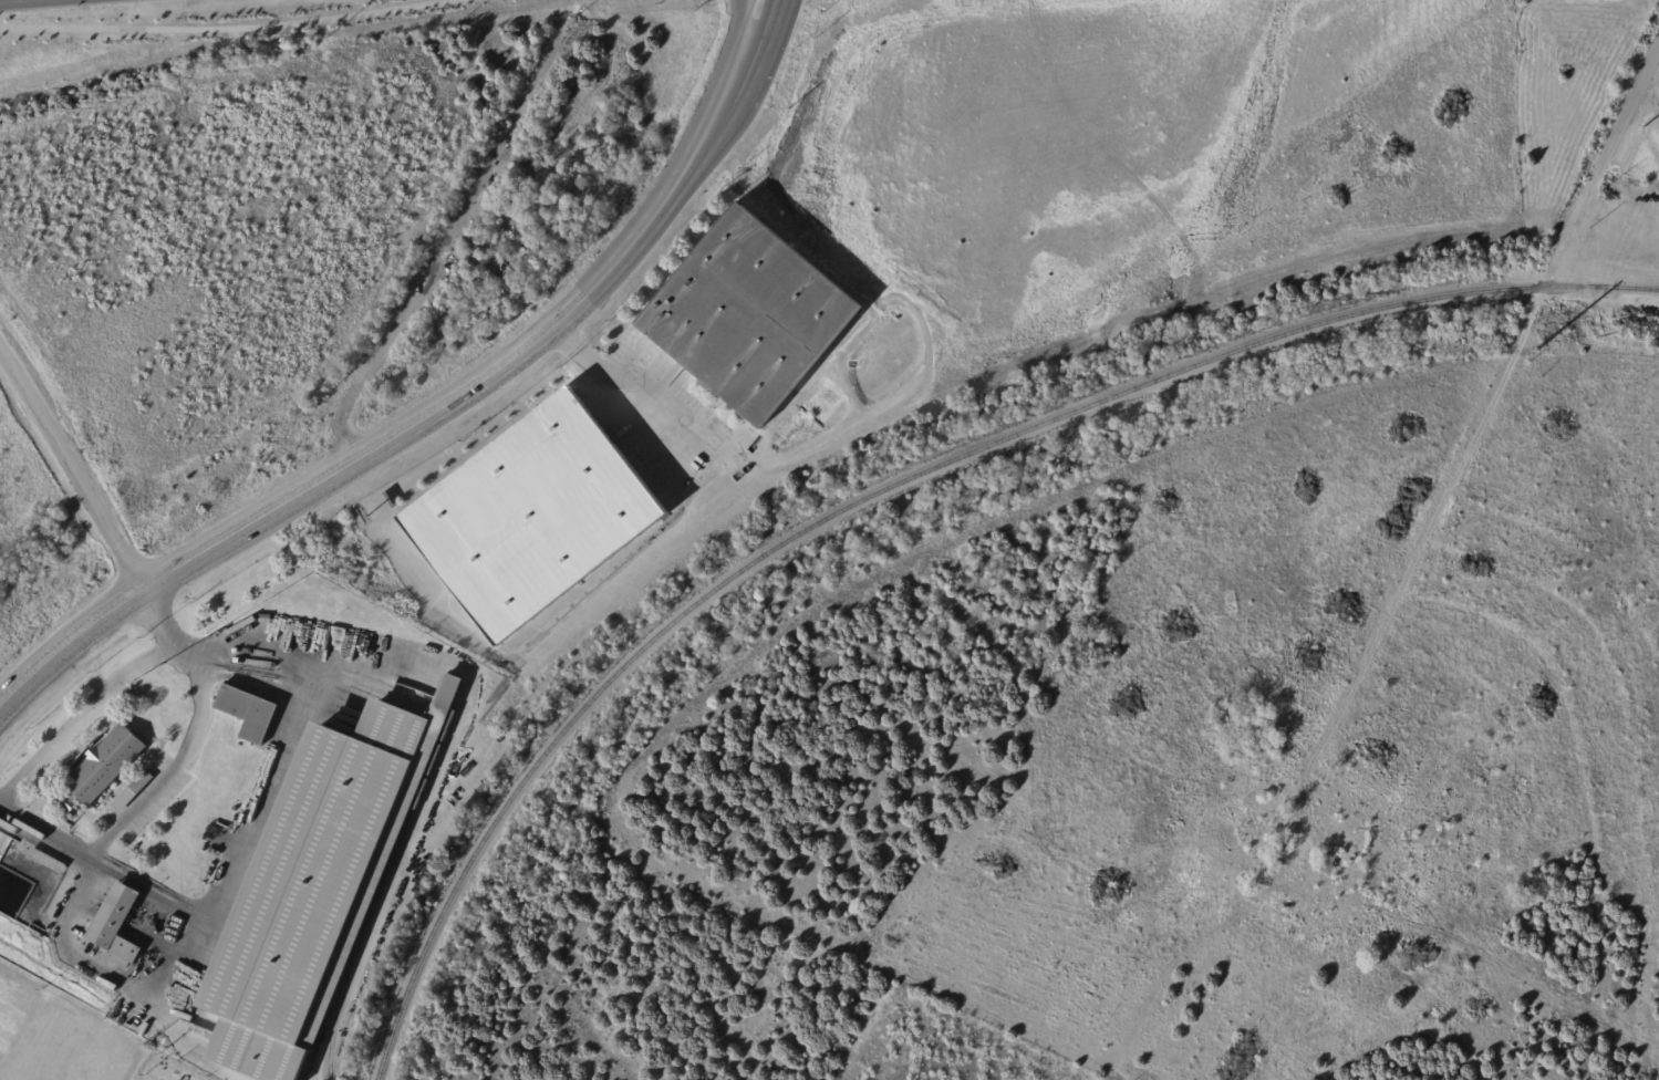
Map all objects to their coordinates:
road: (738, 6)
road: (224, 27)
road: (737, 40)
road: (758, 41)
road: (41, 79)
road: (1645, 112)
road: (1600, 165)
building: (749, 316)
road: (664, 406)
road: (404, 430)
road: (74, 468)
railway: (886, 489)
building: (535, 516)
road: (1417, 552)
road: (156, 614)
building: (249, 712)
road: (81, 716)
road: (182, 757)
building: (105, 767)
road: (48, 833)
building: (1325, 863)
railway: (385, 887)
building: (315, 899)
building: (118, 923)
road: (157, 996)

